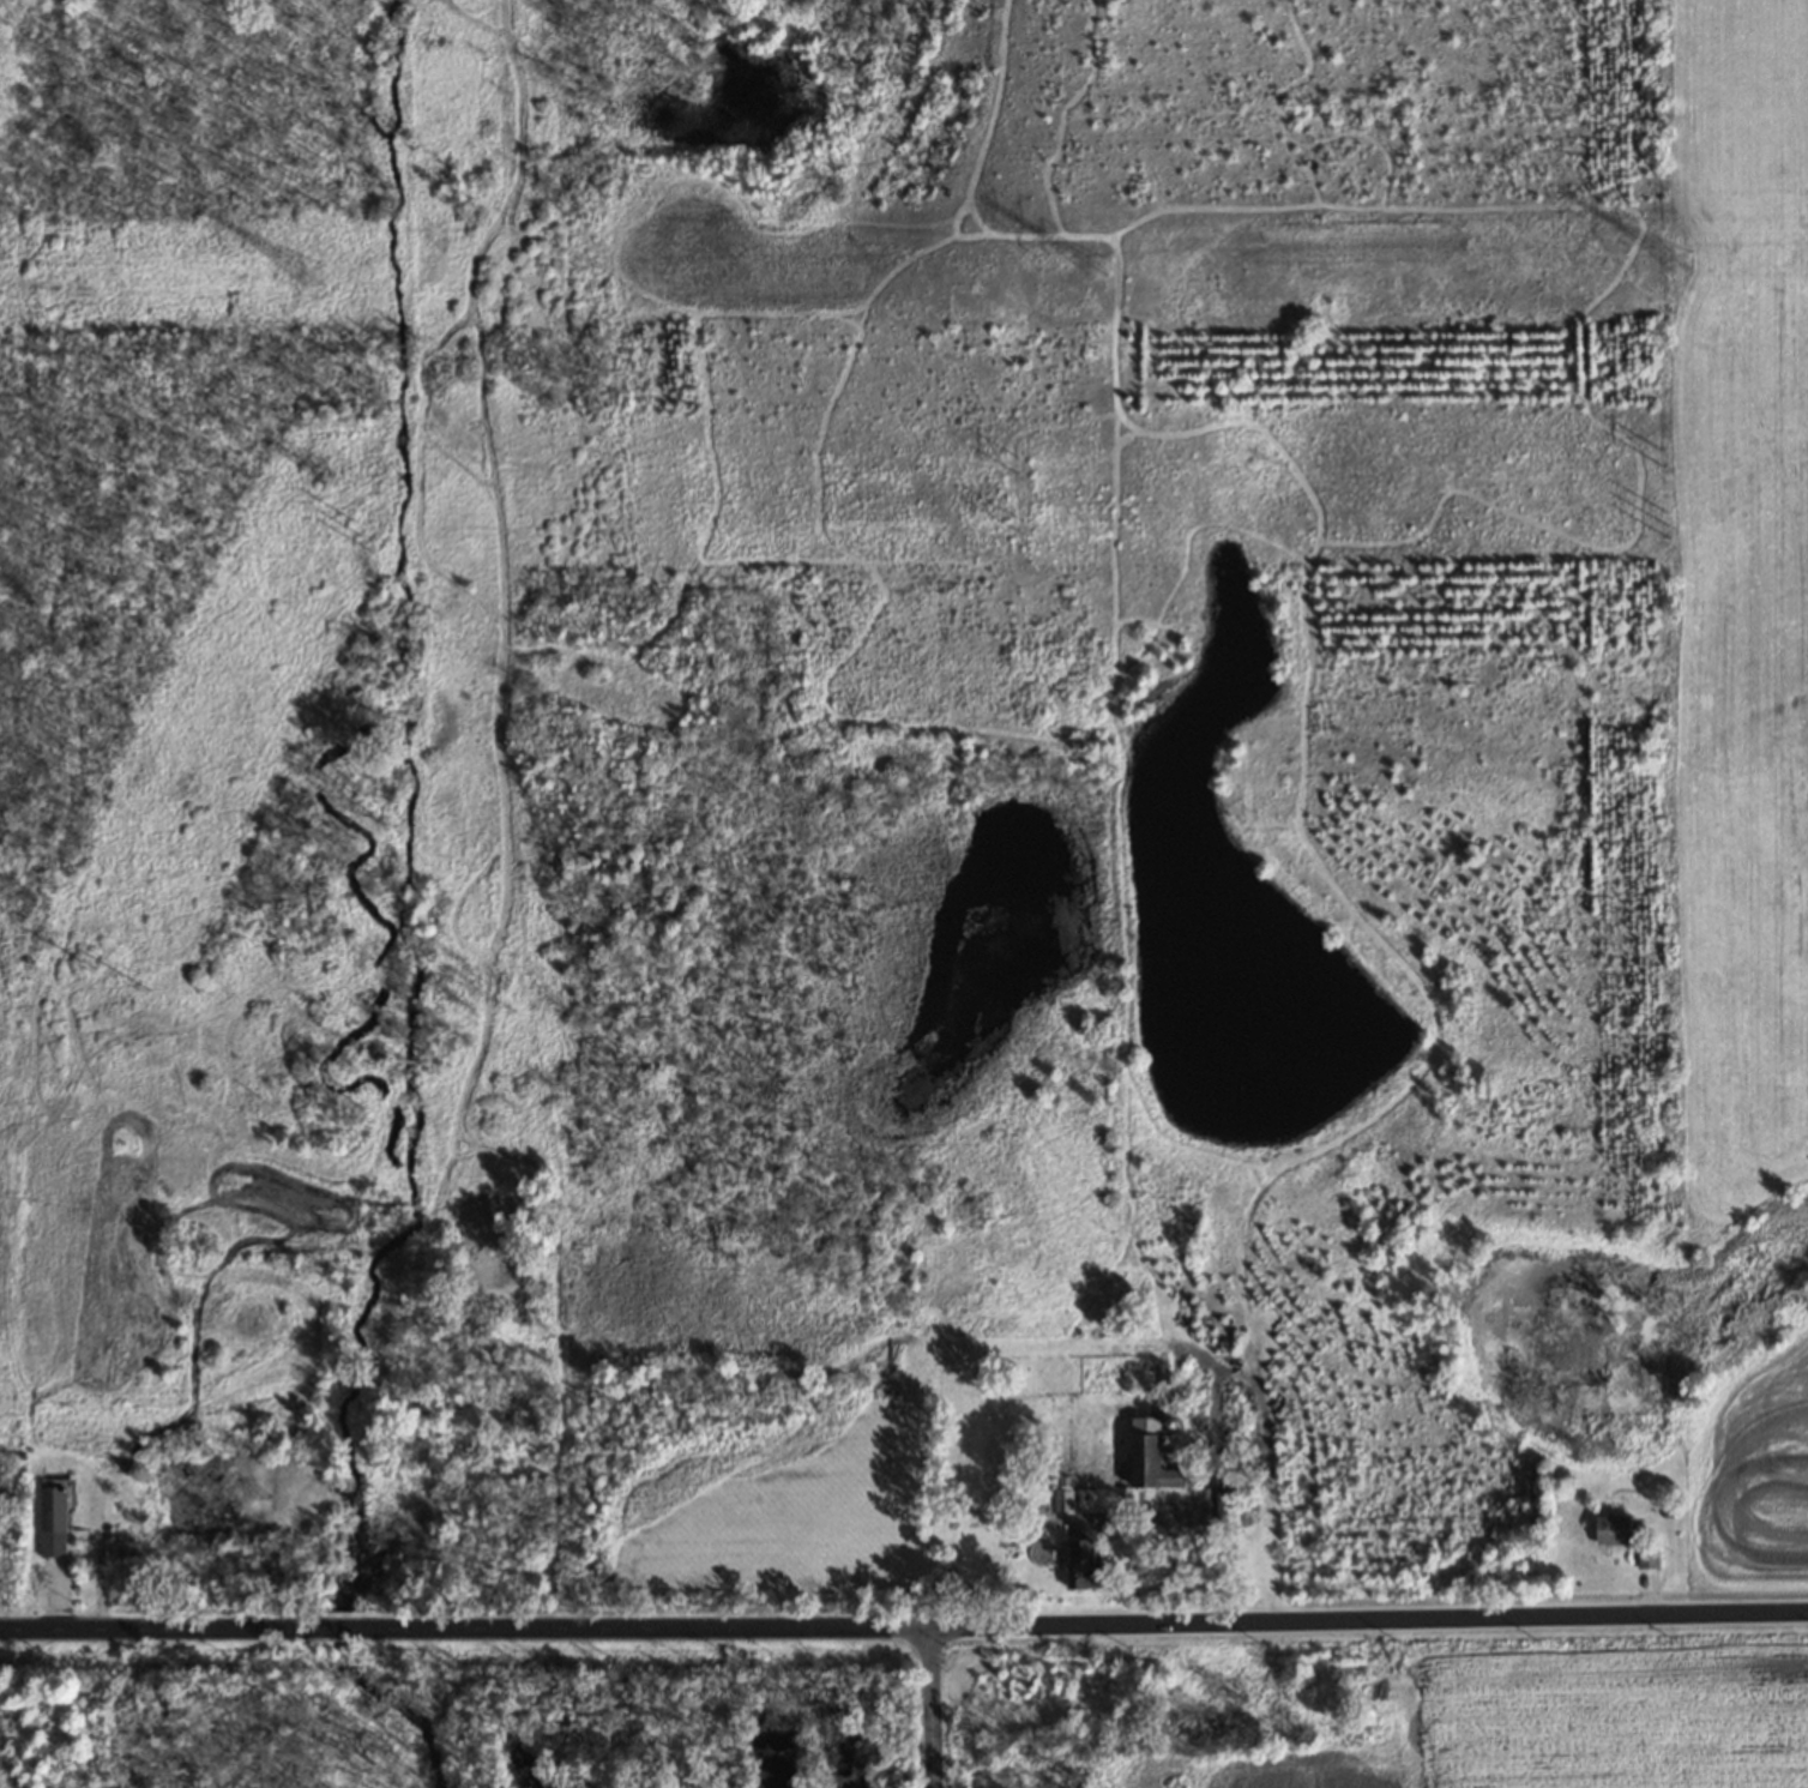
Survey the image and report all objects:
power tower: (1669, 264)
power tower: (1089, 270)
power tower: (315, 287)
power tower: (1658, 459)
power tower: (1013, 466)
power tower: (327, 474)
power tower: (1667, 525)
power tower: (1018, 528)
power tower: (360, 536)
crop: (1740, 613)
power tower: (78, 963)
power tower: (135, 987)
building: (1147, 1459)
crop: (1752, 1485)
building: (1063, 1501)
building: (1227, 1511)
building: (58, 1522)
road: (1173, 1528)
building: (1611, 1533)
building: (1646, 1560)
building: (1080, 1565)
road: (1368, 1618)
road: (464, 1629)
road: (930, 1706)

